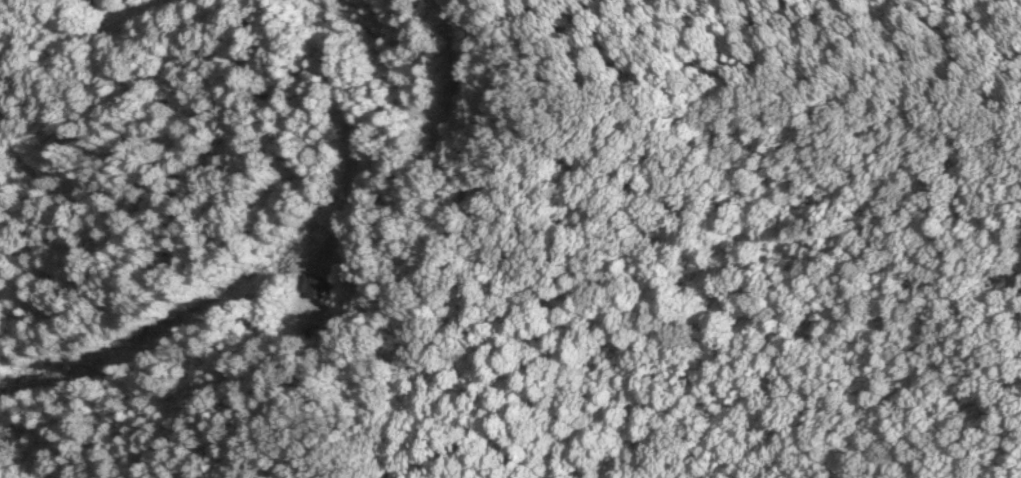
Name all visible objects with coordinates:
road: (413, 108)
building: (318, 284)

